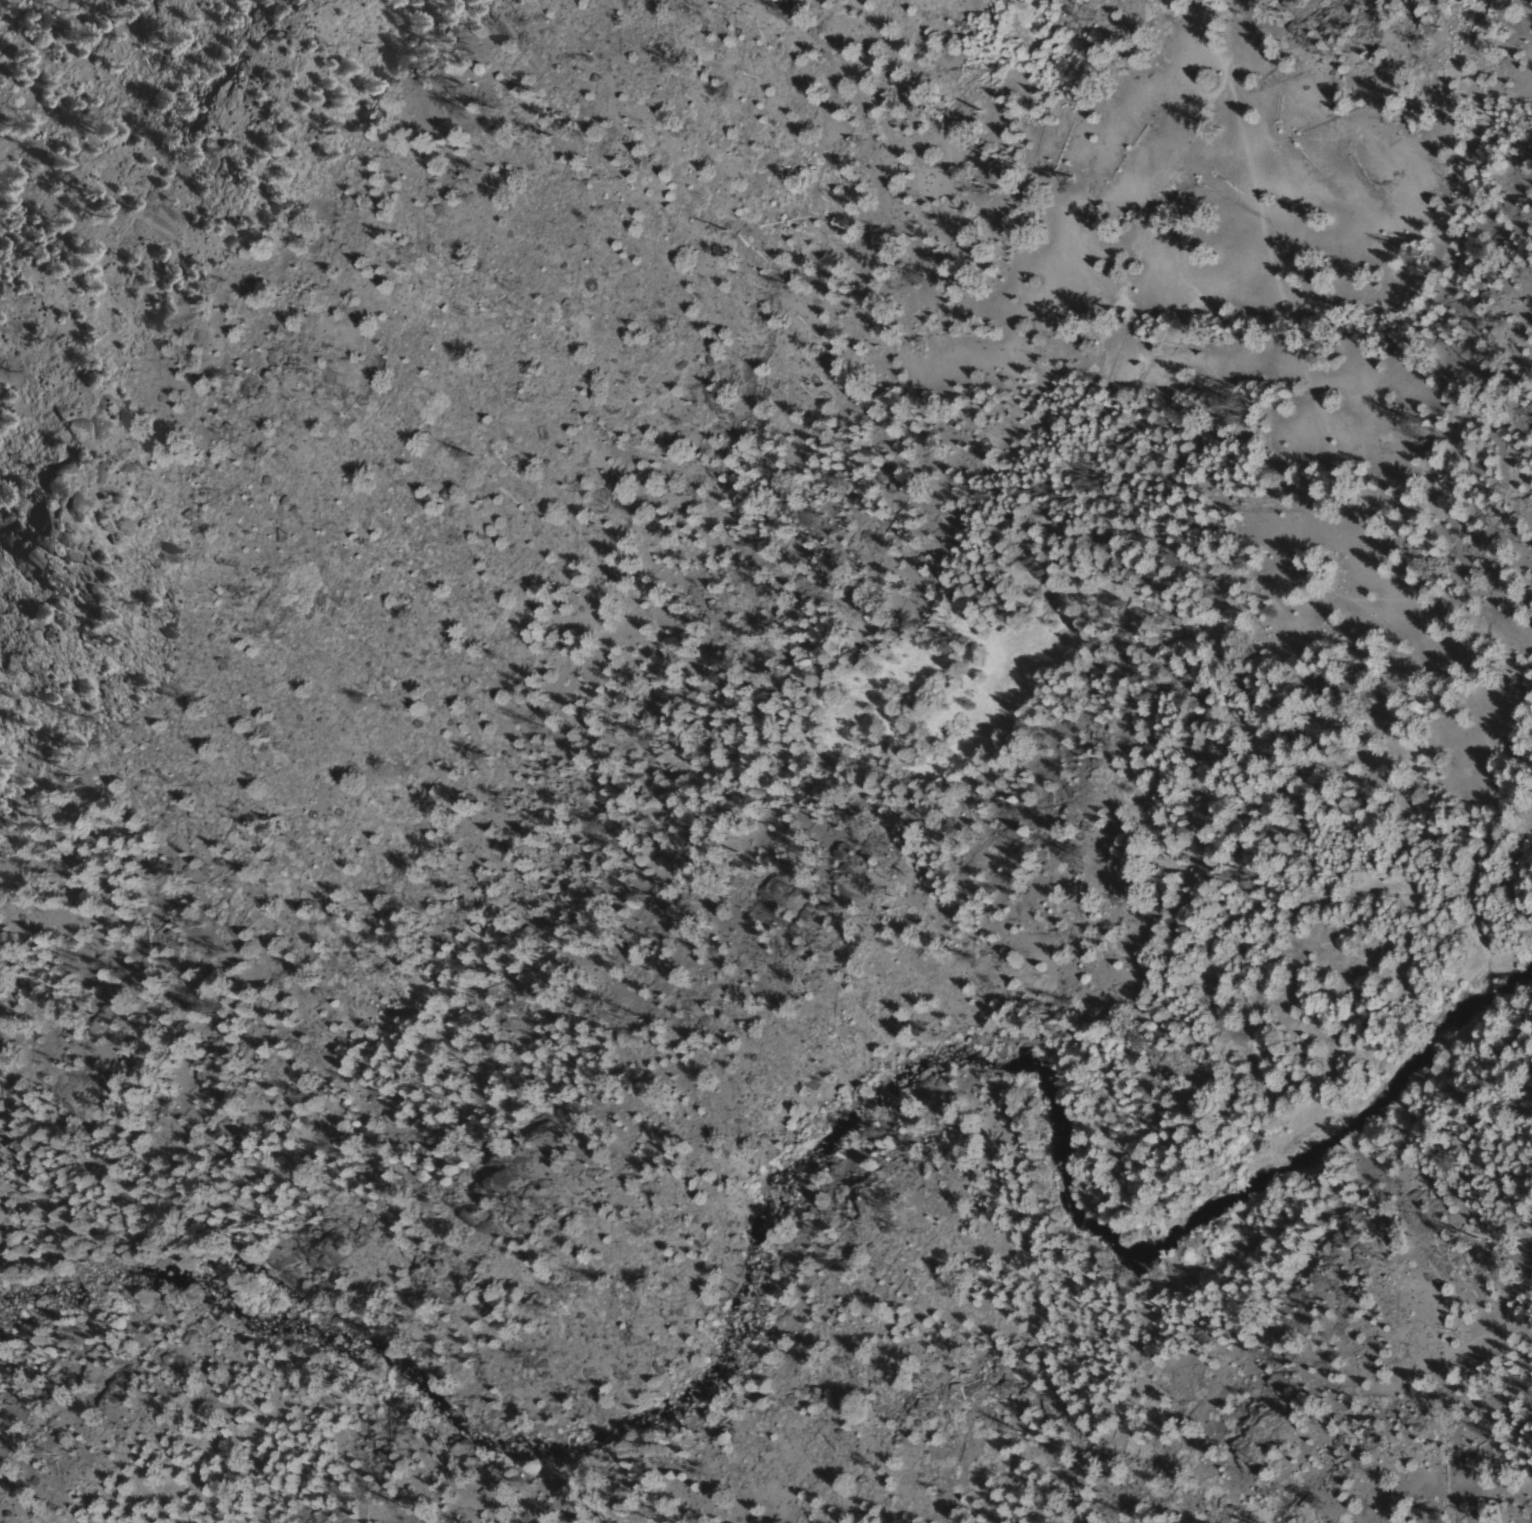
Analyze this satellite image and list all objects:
road: (1321, 420)
road: (1310, 1334)

